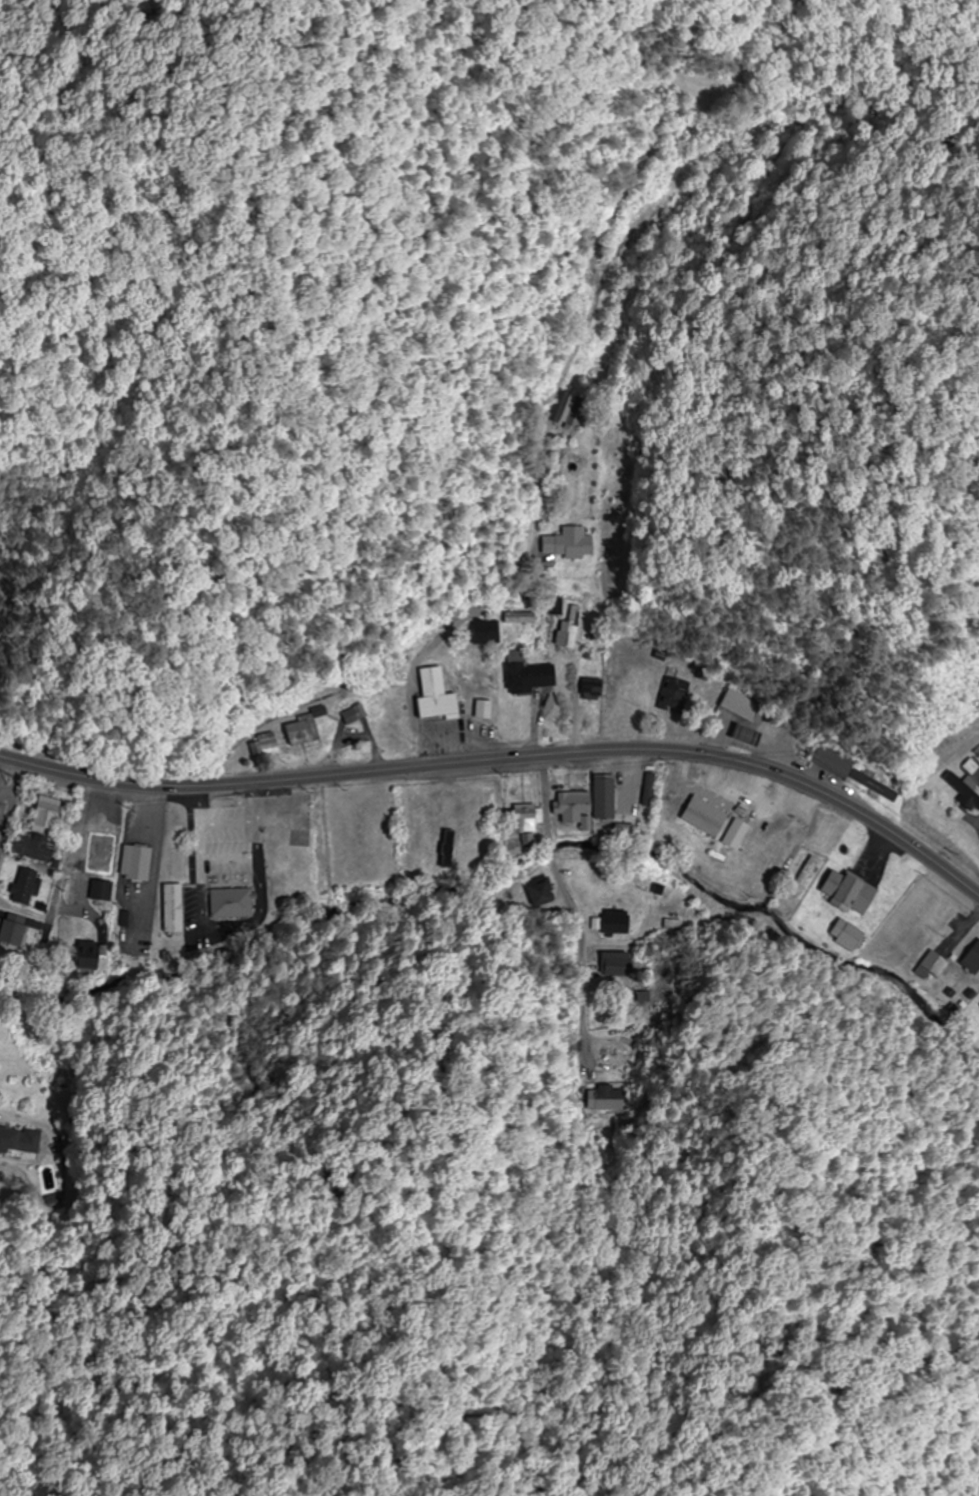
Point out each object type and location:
road: (317, 356)
building: (564, 408)
building: (566, 543)
road: (471, 608)
building: (570, 627)
building: (482, 633)
building: (523, 674)
building: (588, 687)
building: (432, 696)
building: (673, 696)
building: (738, 706)
building: (299, 730)
building: (741, 735)
building: (389, 736)
road: (506, 758)
building: (848, 772)
building: (961, 791)
building: (601, 797)
road: (11, 804)
building: (570, 804)
building: (42, 816)
building: (520, 819)
building: (444, 843)
building: (29, 848)
building: (102, 857)
building: (134, 863)
building: (802, 878)
road: (80, 884)
building: (23, 887)
building: (99, 891)
building: (844, 892)
building: (537, 894)
building: (229, 903)
building: (169, 908)
building: (612, 922)
building: (674, 925)
building: (10, 932)
building: (844, 934)
building: (85, 955)
building: (970, 958)
building: (613, 964)
building: (929, 966)
building: (606, 1098)
road: (694, 1122)
building: (18, 1140)
building: (57, 1184)

